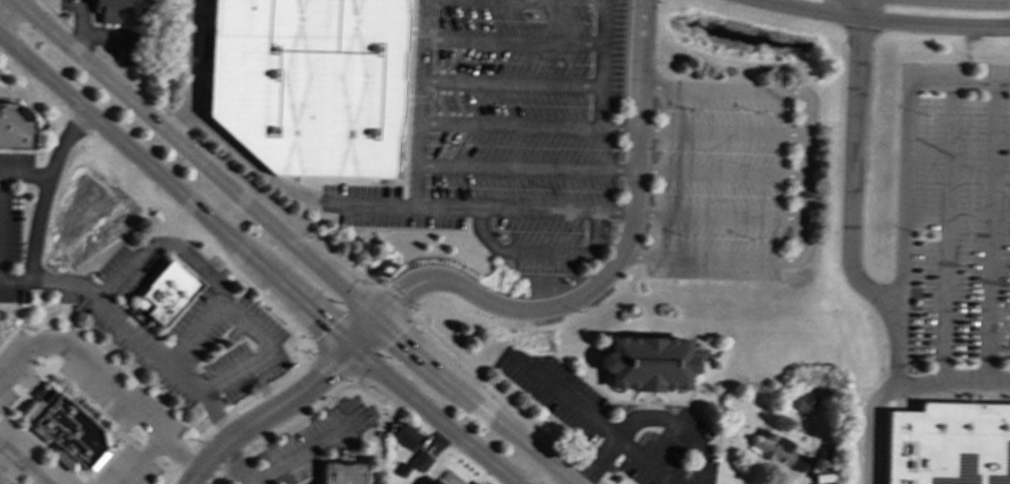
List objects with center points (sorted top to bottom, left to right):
road: (485, 1)
road: (516, 1)
road: (547, 1)
road: (966, 2)
building: (120, 11)
road: (879, 21)
road: (602, 37)
road: (512, 41)
road: (188, 54)
road: (510, 82)
building: (307, 83)
road: (722, 89)
road: (528, 124)
building: (15, 127)
road: (721, 130)
parking lot: (593, 147)
road: (206, 148)
road: (853, 164)
road: (527, 165)
road: (720, 171)
road: (24, 174)
road: (804, 176)
road: (904, 182)
road: (41, 205)
road: (375, 205)
road: (525, 210)
parking lot: (953, 214)
road: (719, 216)
parking lot: (12, 223)
road: (947, 231)
road: (992, 231)
road: (292, 244)
road: (543, 254)
road: (711, 257)
road: (256, 261)
road: (614, 266)
building: (166, 292)
road: (222, 292)
road: (394, 299)
road: (346, 318)
traffic signals: (380, 318)
parking lot: (183, 327)
road: (142, 339)
road: (378, 344)
traffic signals: (348, 347)
building: (646, 362)
road: (330, 363)
road: (103, 381)
road: (900, 387)
road: (366, 391)
road: (949, 394)
road: (504, 399)
building: (805, 402)
road: (286, 403)
road: (234, 409)
road: (646, 416)
road: (592, 420)
road: (282, 429)
building: (66, 431)
building: (404, 435)
parking lot: (318, 441)
building: (951, 444)
building: (776, 449)
road: (302, 452)
road: (139, 459)
building: (419, 460)
road: (238, 464)
building: (343, 473)
building: (434, 482)
road: (789, 482)

